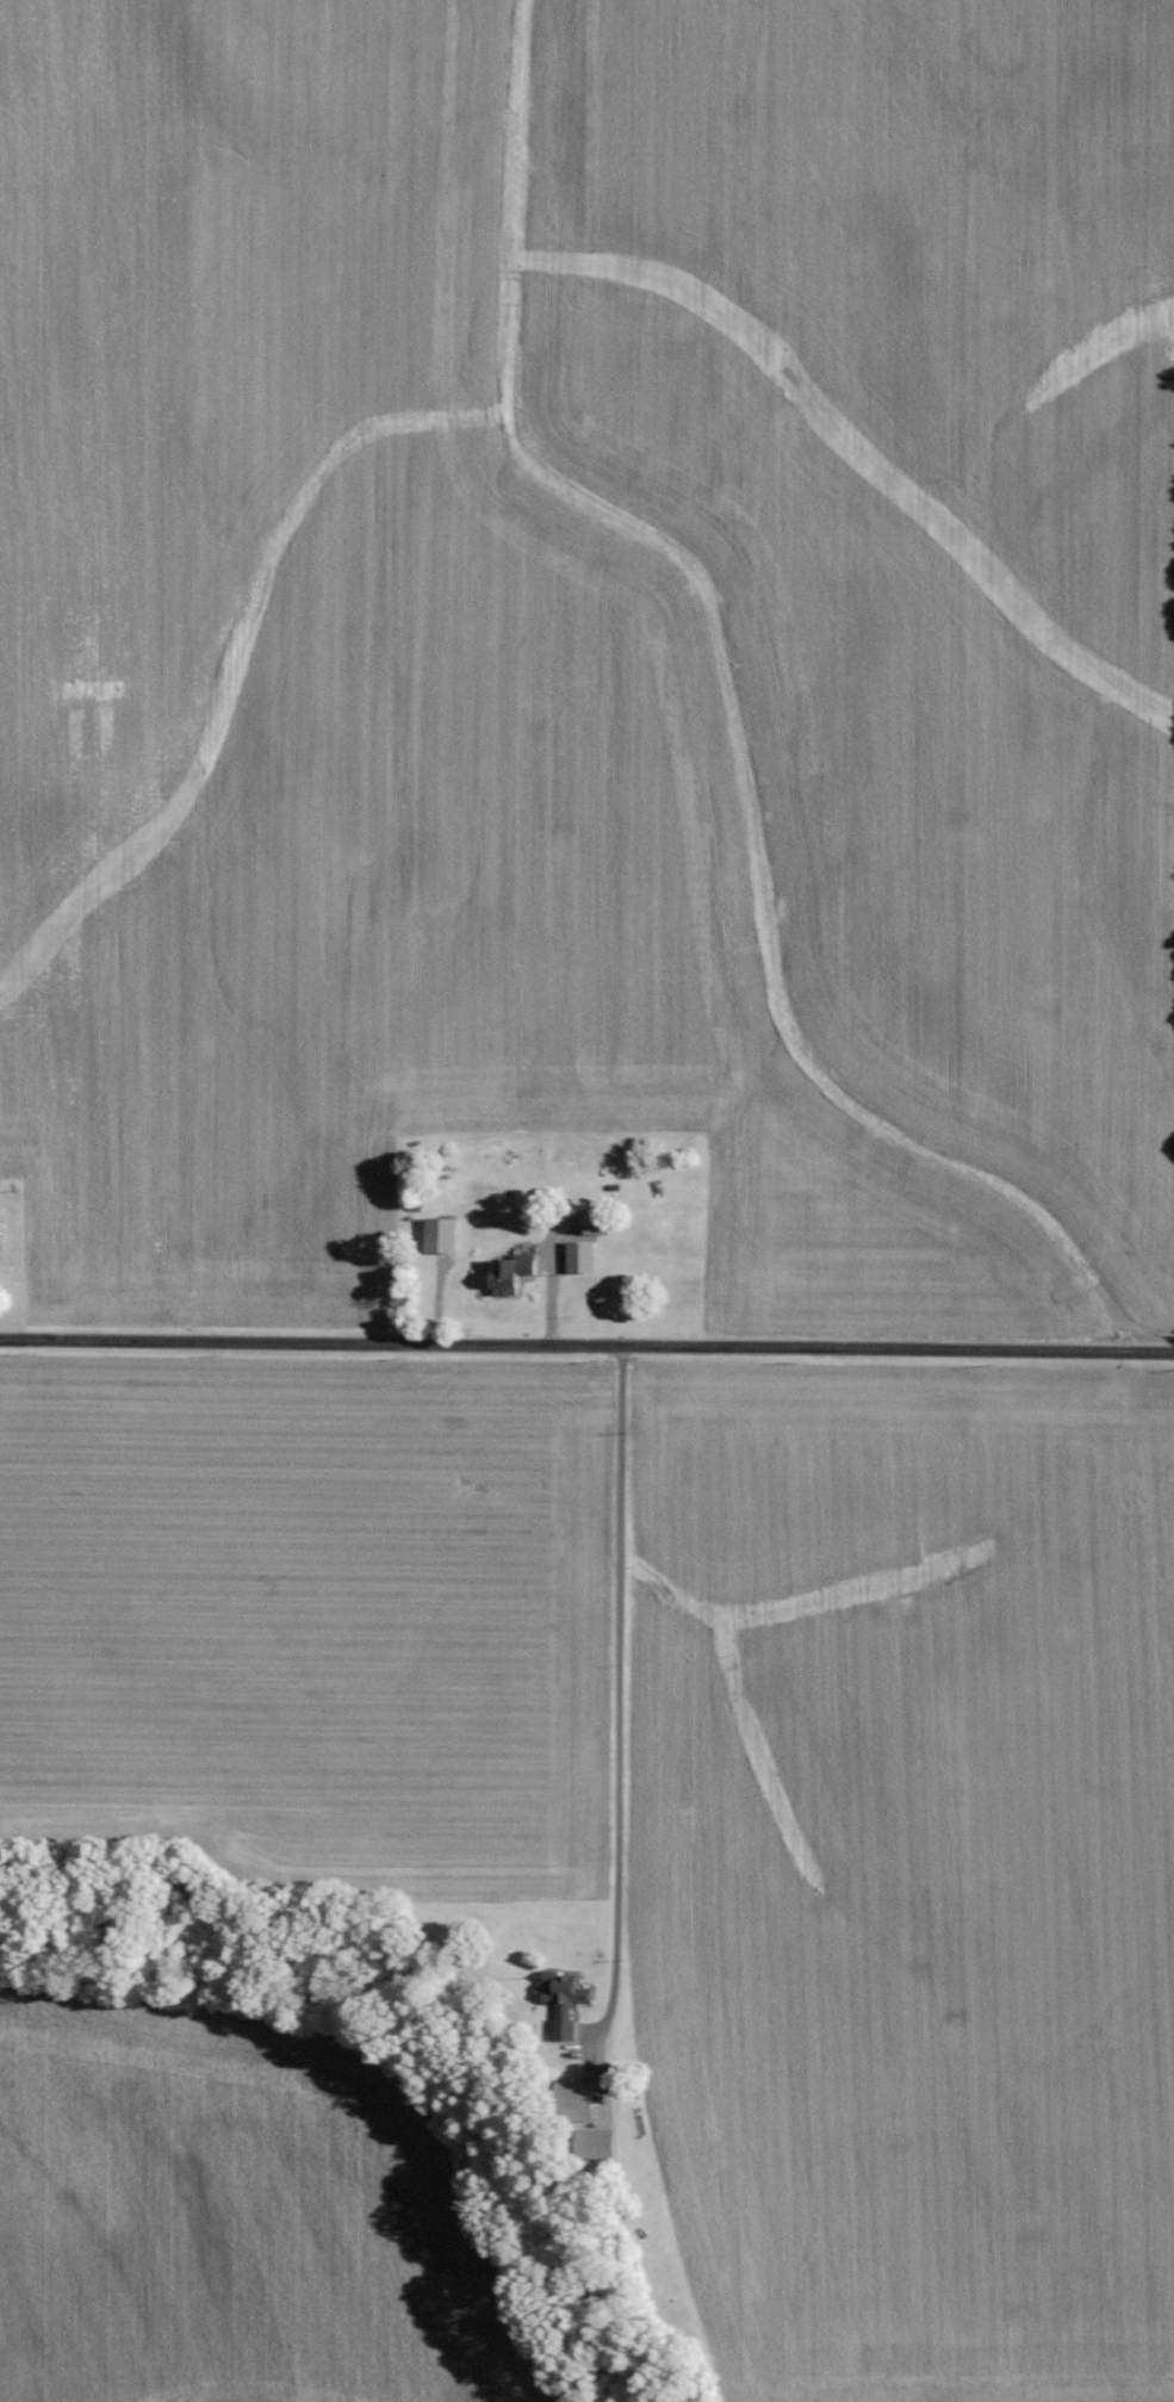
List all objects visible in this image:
building: (595, 1223)
building: (441, 1235)
building: (580, 1256)
building: (511, 1273)
road: (586, 1341)
road: (617, 1694)
building: (577, 2102)
building: (597, 2145)

